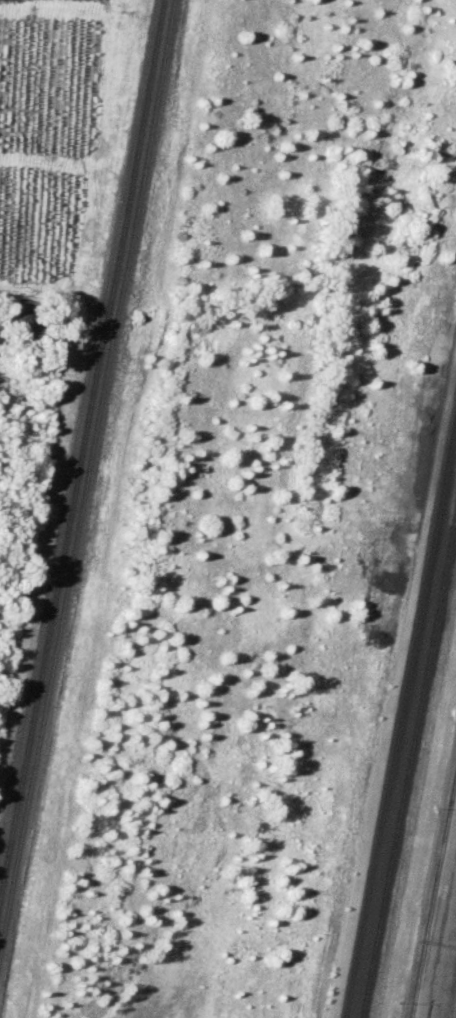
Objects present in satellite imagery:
railway: (81, 442)
railway: (86, 475)
railway: (409, 759)
railway: (434, 896)

